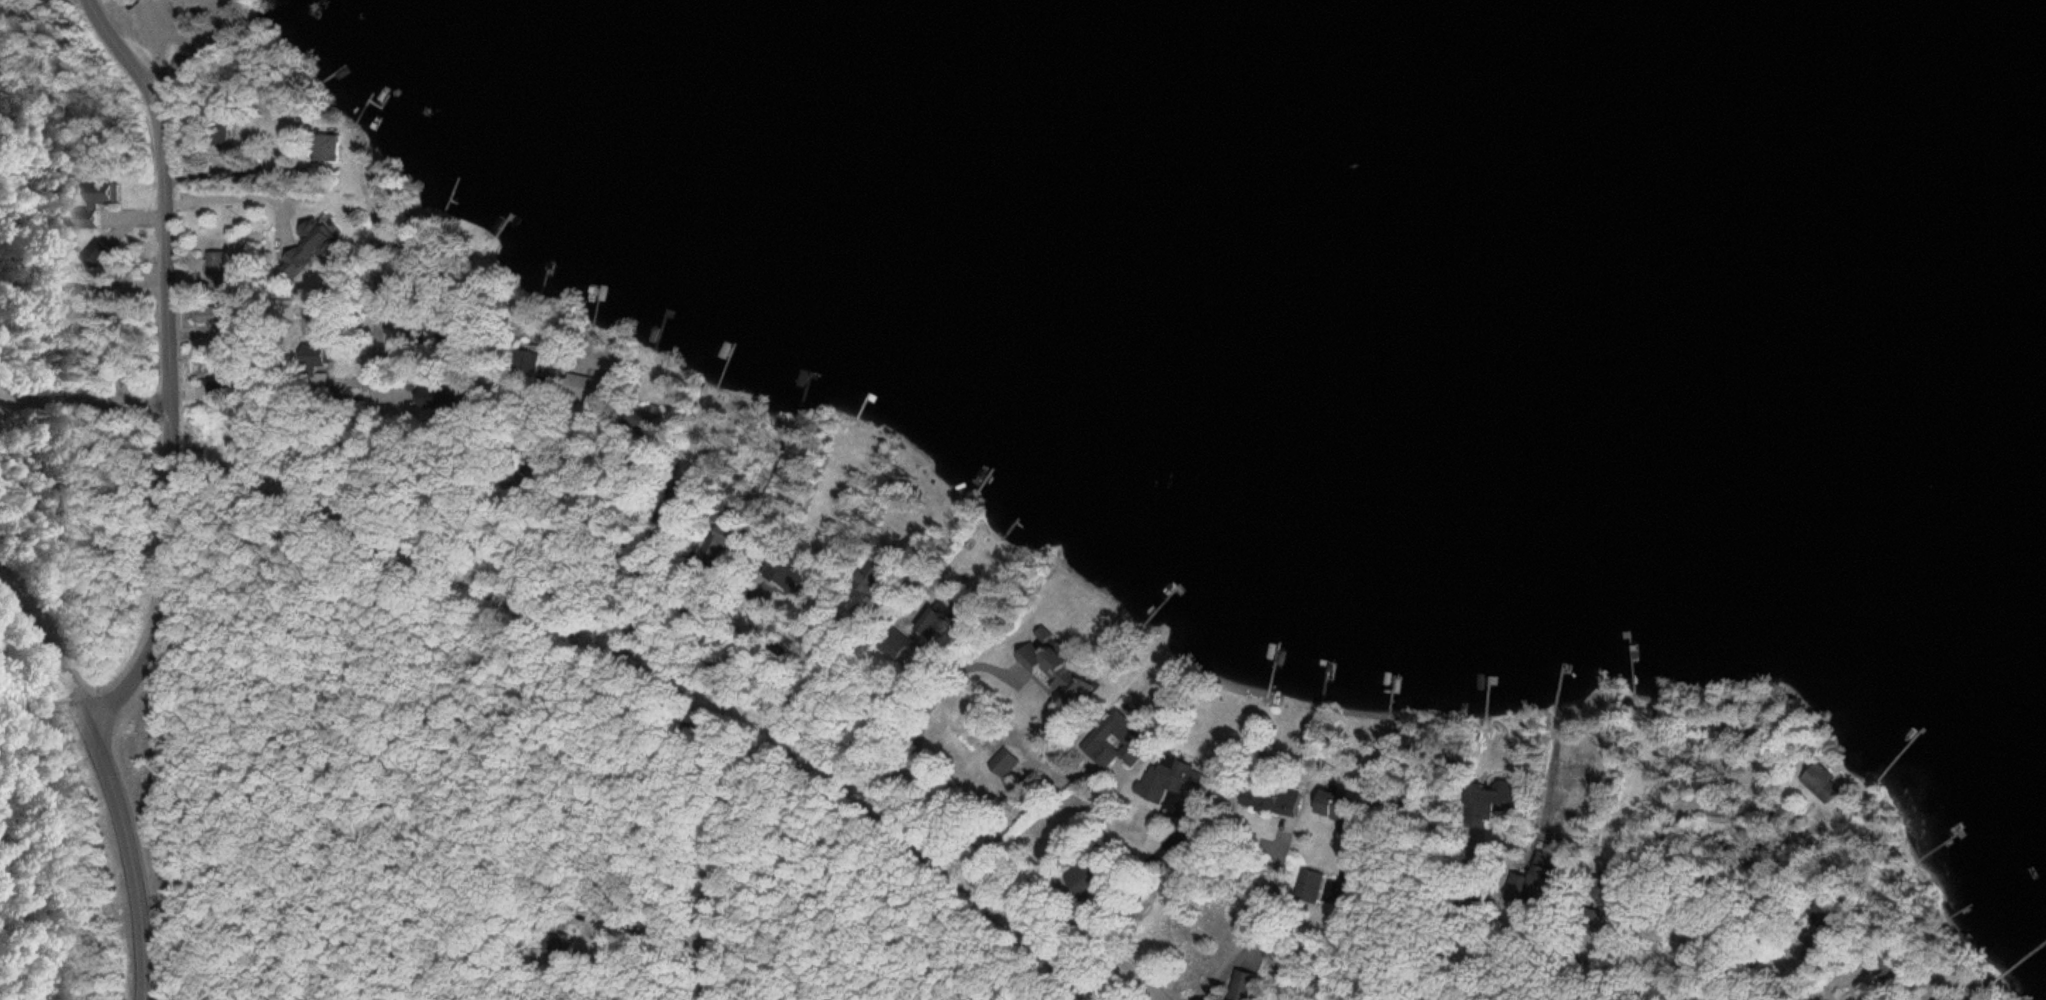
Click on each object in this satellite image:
parking lot: (179, 18)
road: (196, 47)
road: (170, 364)
road: (88, 402)
road: (353, 467)
road: (859, 757)
road: (114, 781)
building: (1159, 784)
building: (1239, 989)

